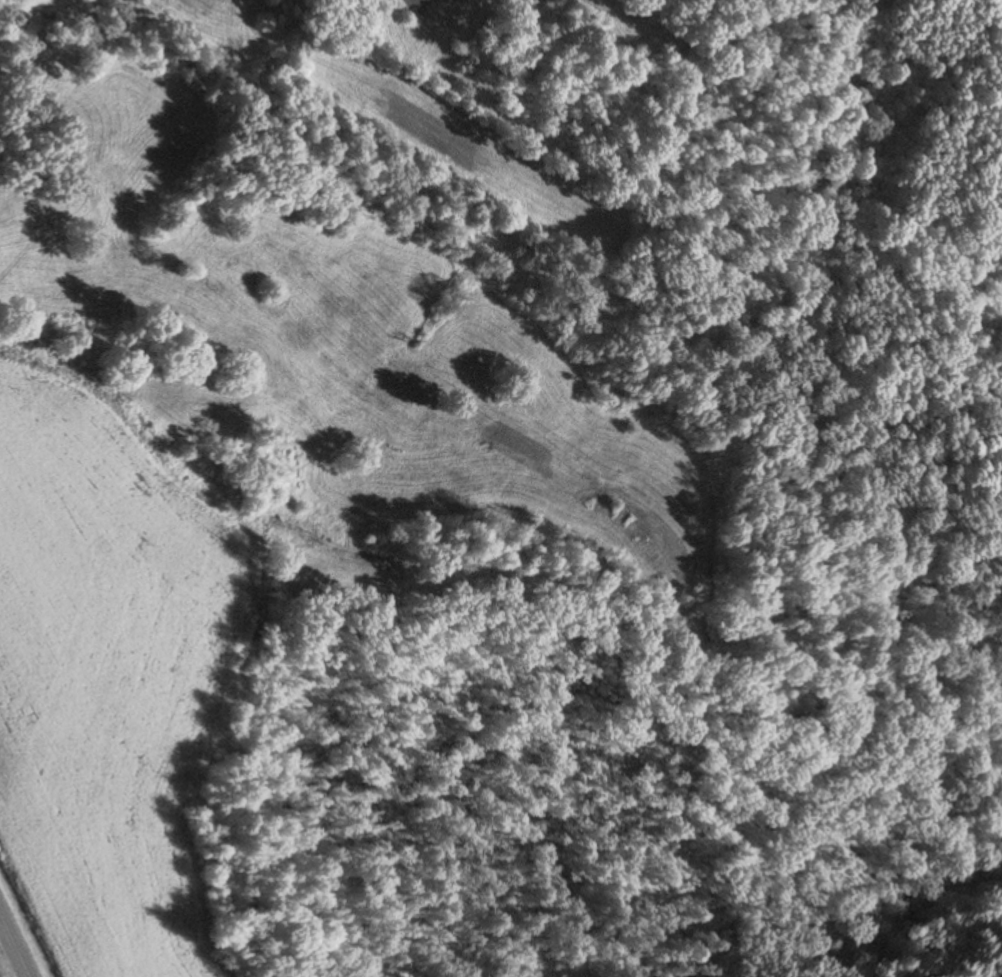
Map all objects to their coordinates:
road: (15, 944)

